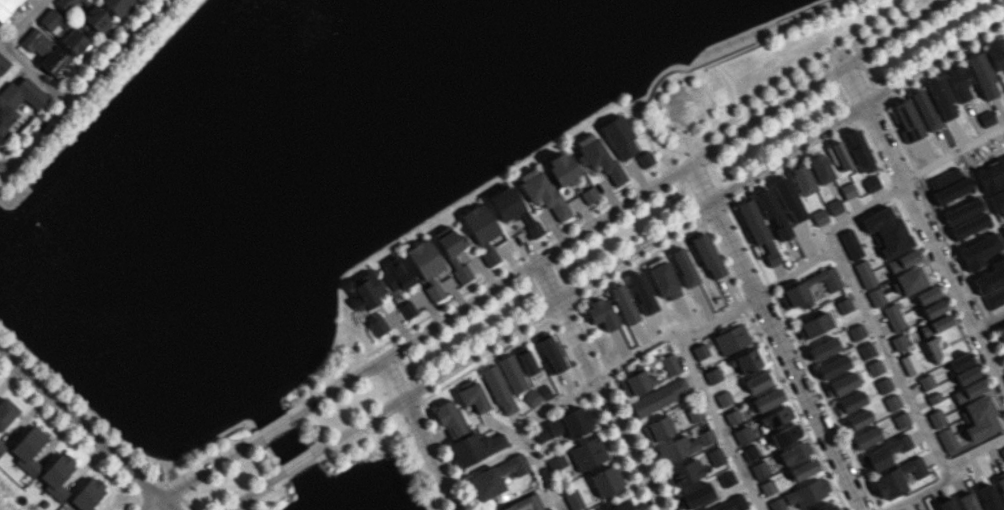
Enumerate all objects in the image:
building: (65, 4)
building: (118, 6)
building: (6, 7)
building: (96, 19)
building: (72, 34)
building: (47, 53)
building: (995, 53)
road: (16, 55)
building: (3, 63)
building: (981, 76)
building: (958, 82)
road: (83, 87)
building: (940, 99)
building: (17, 100)
building: (924, 110)
building: (906, 120)
building: (618, 137)
building: (858, 151)
road: (952, 153)
building: (838, 156)
building: (644, 159)
building: (601, 160)
building: (561, 168)
building: (819, 168)
building: (802, 179)
building: (994, 179)
building: (871, 183)
building: (951, 187)
building: (847, 190)
building: (544, 194)
building: (588, 195)
building: (788, 199)
building: (506, 203)
building: (999, 203)
building: (834, 206)
road: (614, 208)
building: (771, 212)
building: (964, 213)
building: (818, 217)
road: (923, 226)
building: (969, 227)
park: (626, 228)
building: (534, 229)
building: (756, 229)
building: (886, 230)
building: (482, 231)
road: (660, 236)
building: (850, 244)
building: (454, 252)
building: (980, 253)
building: (707, 256)
building: (902, 260)
building: (426, 266)
building: (683, 267)
building: (864, 273)
building: (396, 274)
building: (992, 278)
building: (661, 279)
building: (909, 280)
building: (793, 288)
building: (367, 291)
building: (641, 293)
building: (926, 295)
building: (875, 297)
building: (996, 301)
building: (623, 304)
building: (843, 305)
building: (406, 309)
building: (933, 309)
building: (601, 313)
road: (865, 313)
building: (893, 317)
road: (713, 319)
road: (988, 320)
building: (939, 323)
building: (376, 324)
building: (813, 325)
building: (1003, 325)
building: (856, 332)
building: (1001, 332)
road: (774, 335)
building: (731, 339)
building: (898, 342)
road: (3, 348)
building: (935, 348)
building: (822, 349)
building: (865, 350)
building: (699, 351)
building: (550, 354)
building: (749, 360)
building: (959, 361)
building: (525, 362)
building: (669, 364)
building: (909, 364)
building: (832, 367)
building: (874, 367)
road: (8, 370)
building: (511, 373)
building: (965, 374)
building: (712, 375)
building: (758, 381)
building: (636, 382)
building: (925, 382)
road: (595, 385)
building: (840, 385)
building: (883, 385)
building: (498, 389)
building: (968, 391)
building: (472, 397)
building: (532, 397)
building: (658, 397)
building: (723, 398)
building: (766, 399)
building: (848, 402)
building: (891, 402)
road: (24, 410)
building: (6, 412)
building: (693, 413)
building: (732, 417)
building: (775, 417)
building: (448, 418)
building: (936, 418)
building: (978, 418)
building: (856, 420)
building: (900, 420)
building: (576, 421)
road: (716, 423)
road: (81, 424)
road: (273, 426)
building: (657, 428)
road: (518, 430)
building: (547, 430)
road: (421, 433)
building: (741, 435)
building: (784, 435)
building: (705, 437)
building: (864, 438)
building: (946, 439)
building: (2, 447)
building: (475, 447)
building: (28, 449)
building: (676, 449)
building: (749, 452)
building: (793, 452)
building: (587, 453)
building: (884, 453)
building: (715, 456)
building: (556, 461)
road: (299, 465)
road: (207, 467)
building: (759, 469)
building: (803, 469)
building: (684, 473)
building: (56, 476)
road: (948, 476)
building: (494, 477)
building: (726, 478)
building: (896, 478)
building: (606, 480)
building: (999, 484)
building: (767, 487)
road: (257, 492)
building: (806, 492)
building: (87, 494)
building: (694, 496)
building: (987, 497)
building: (573, 500)
building: (968, 501)
road: (146, 504)
road: (162, 504)
building: (525, 504)
building: (730, 504)
building: (777, 504)
building: (945, 504)
building: (618, 506)
building: (826, 506)

